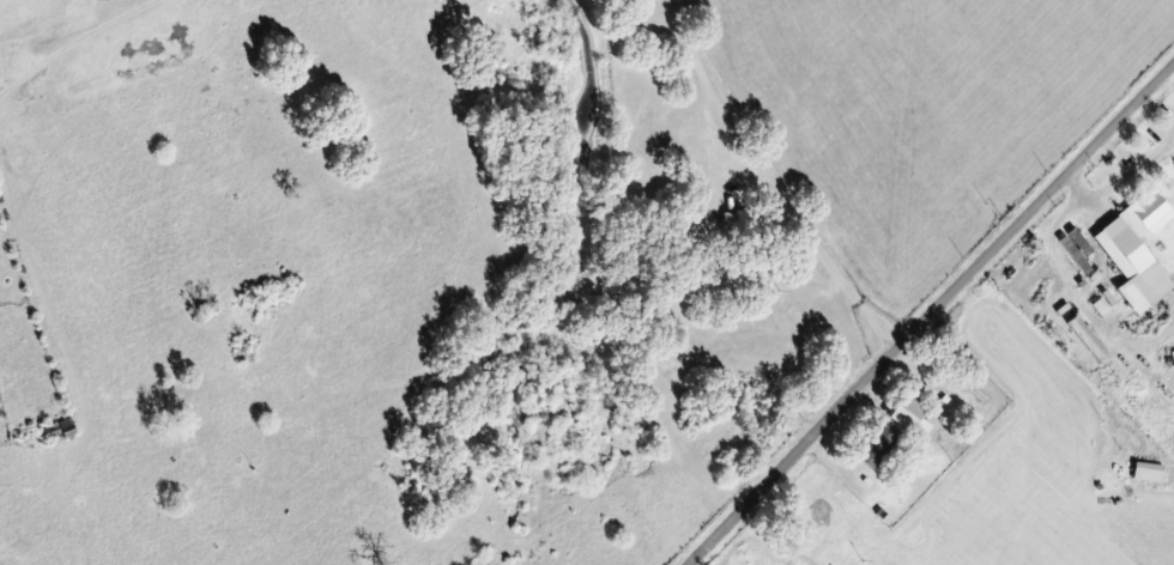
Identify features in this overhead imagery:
building: (1133, 250)
building: (1101, 303)
road: (932, 315)
building: (1085, 339)
building: (907, 417)
building: (875, 445)
building: (1144, 472)

